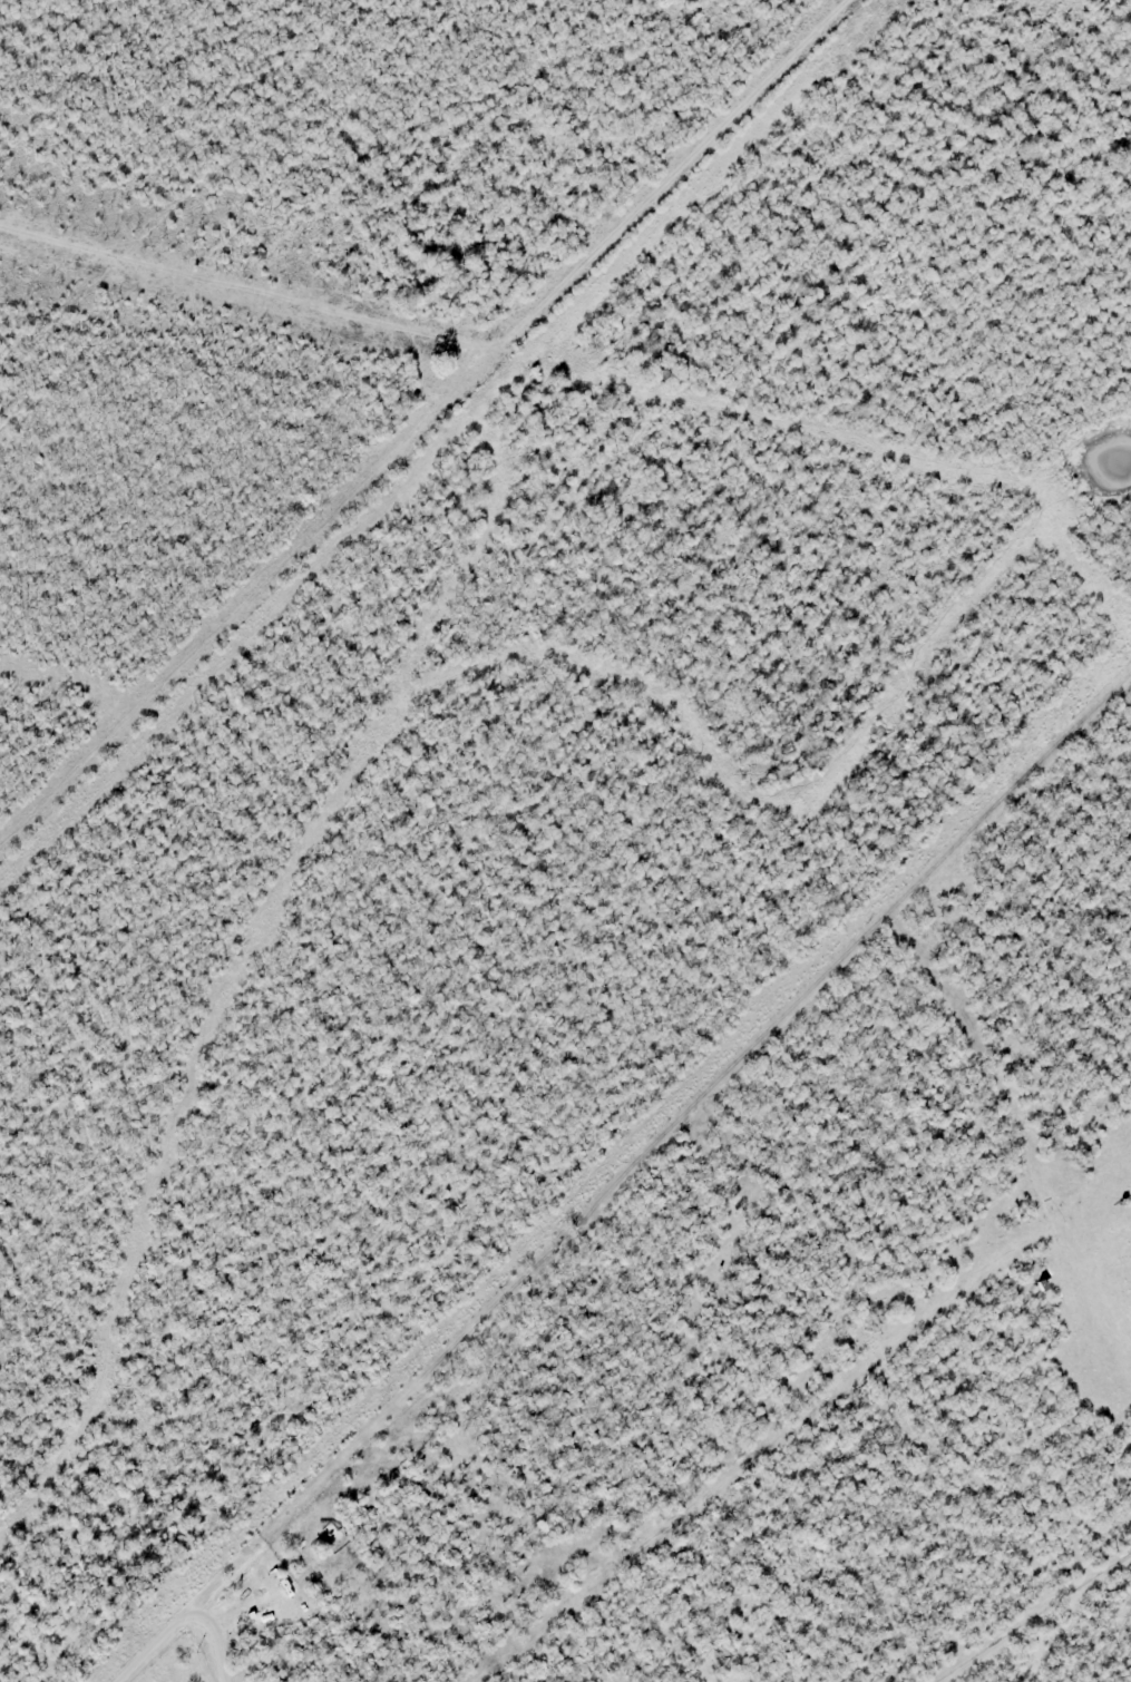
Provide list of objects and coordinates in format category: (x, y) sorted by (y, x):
building: (257, 1605)

